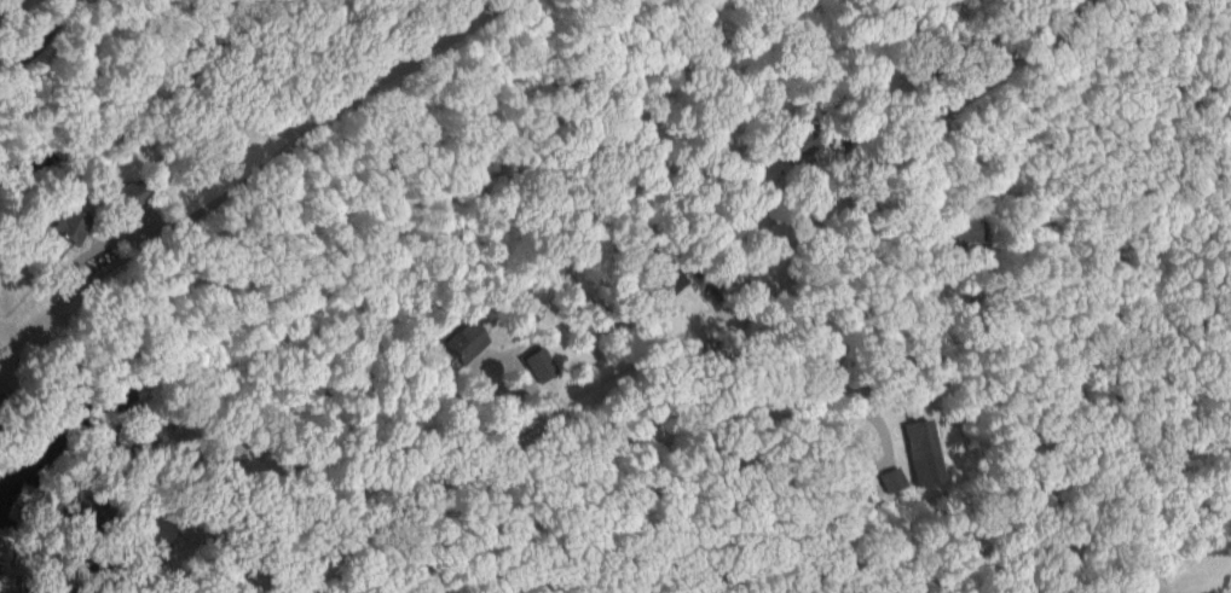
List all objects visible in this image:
road: (44, 39)
road: (342, 111)
building: (793, 143)
building: (125, 194)
building: (63, 225)
building: (957, 232)
building: (664, 284)
road: (703, 326)
building: (462, 341)
building: (538, 364)
road: (840, 443)
building: (918, 452)
building: (886, 479)
building: (154, 528)
road: (254, 540)

